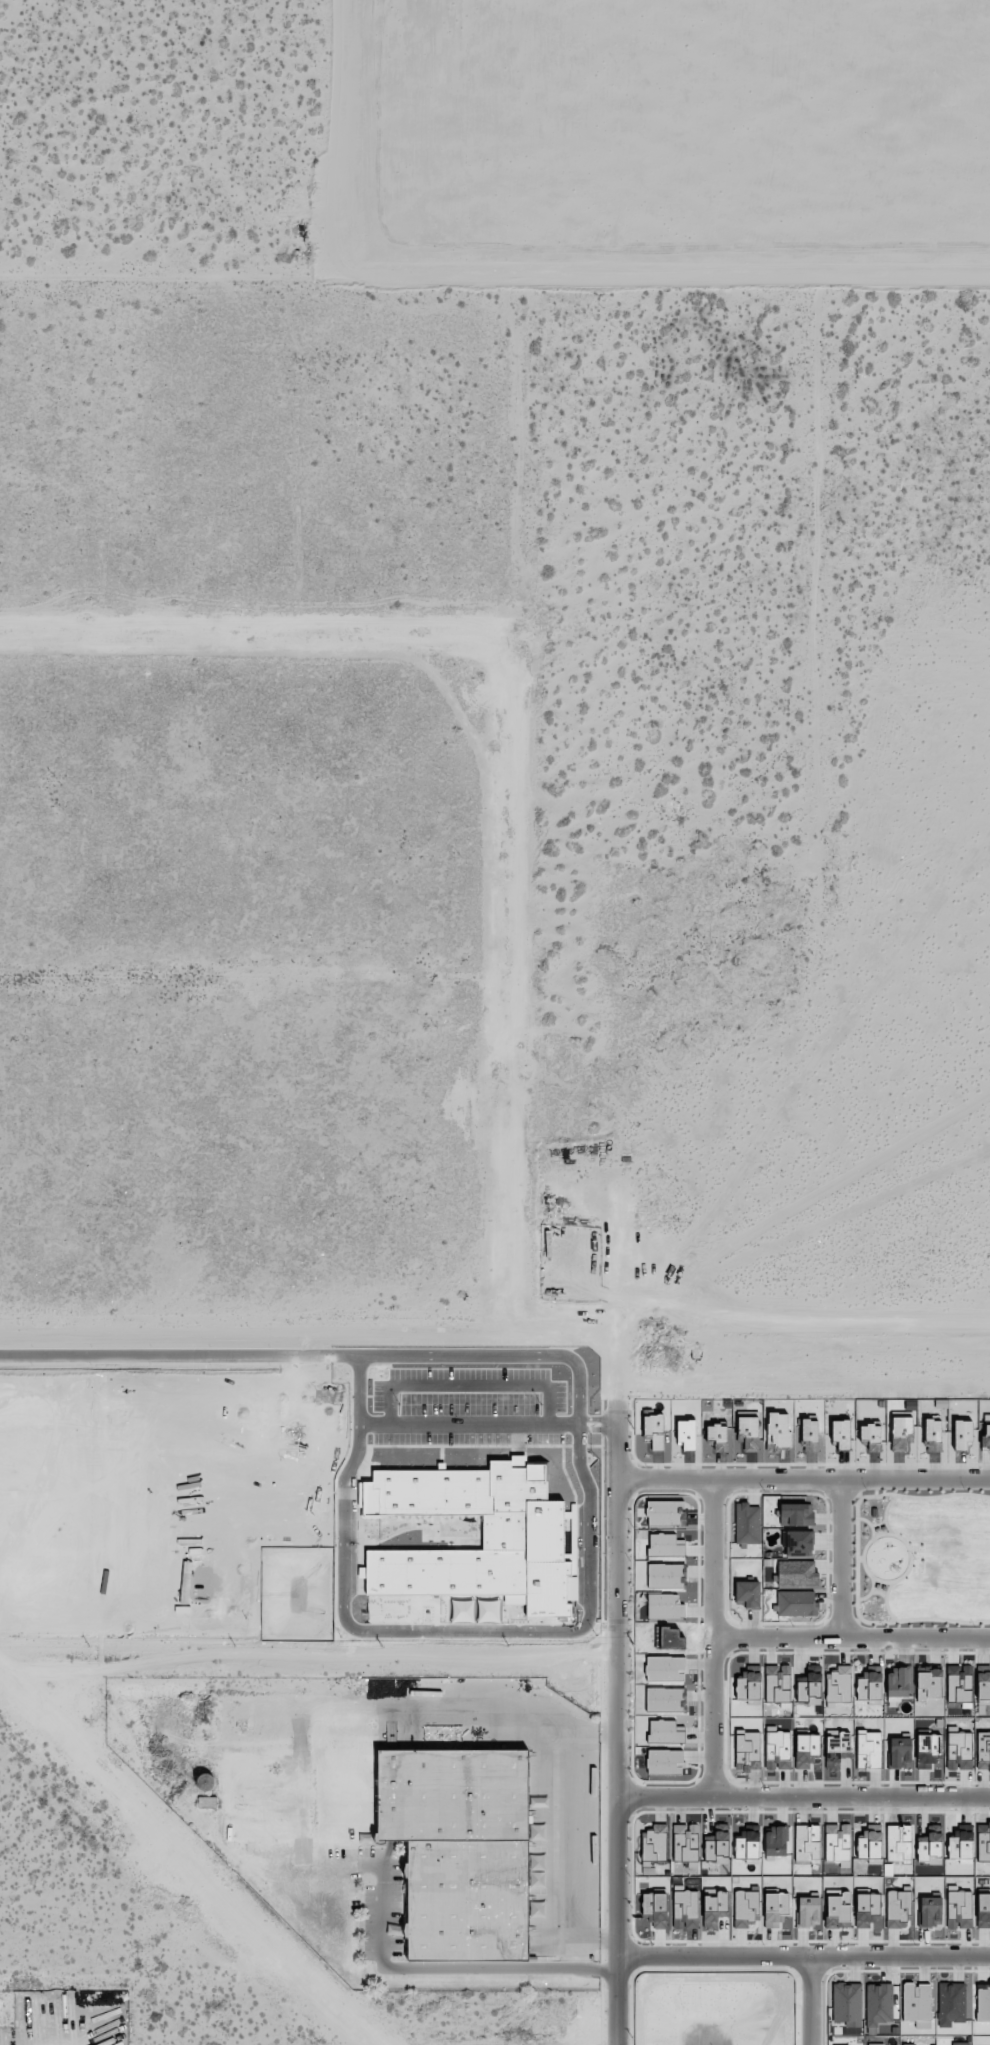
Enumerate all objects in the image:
road: (494, 278)
building: (654, 1431)
building: (778, 1431)
building: (809, 1431)
building: (748, 1432)
building: (840, 1433)
building: (901, 1433)
building: (962, 1433)
building: (685, 1434)
building: (933, 1435)
building: (717, 1436)
building: (871, 1437)
building: (986, 1439)
road: (804, 1484)
building: (796, 1514)
building: (747, 1523)
road: (841, 1565)
building: (797, 1573)
building: (747, 1594)
building: (796, 1603)
road: (712, 1644)
road: (851, 1646)
road: (309, 1665)
building: (897, 1683)
building: (778, 1685)
building: (838, 1686)
building: (870, 1686)
building: (928, 1686)
building: (983, 1686)
building: (749, 1687)
road: (506, 1714)
road: (620, 1729)
building: (747, 1749)
building: (983, 1751)
road: (805, 1804)
building: (685, 1842)
building: (983, 1843)
building: (654, 1844)
building: (460, 1850)
building: (745, 1908)
building: (774, 1908)
building: (897, 1908)
building: (655, 1909)
building: (685, 1909)
building: (714, 1909)
building: (959, 1909)
building: (867, 1910)
building: (983, 1910)
building: (930, 1911)
building: (808, 1912)
road: (806, 1962)
road: (809, 2003)
building: (983, 2004)
building: (908, 2044)

